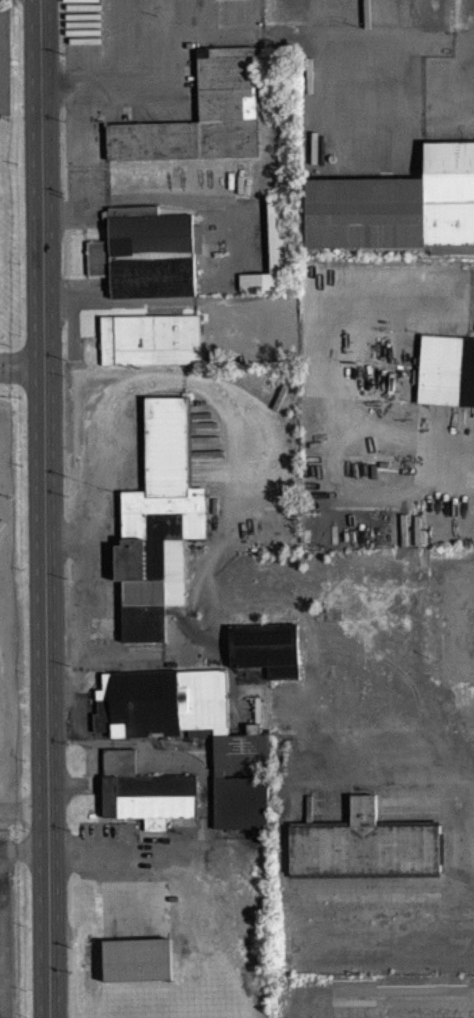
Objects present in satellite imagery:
road: (115, 79)
building: (203, 124)
building: (399, 214)
building: (148, 262)
building: (248, 289)
road: (20, 377)
building: (444, 380)
building: (169, 455)
road: (451, 462)
road: (43, 509)
building: (153, 587)
building: (268, 658)
building: (179, 721)
building: (147, 801)
road: (24, 819)
building: (366, 854)
building: (139, 969)

